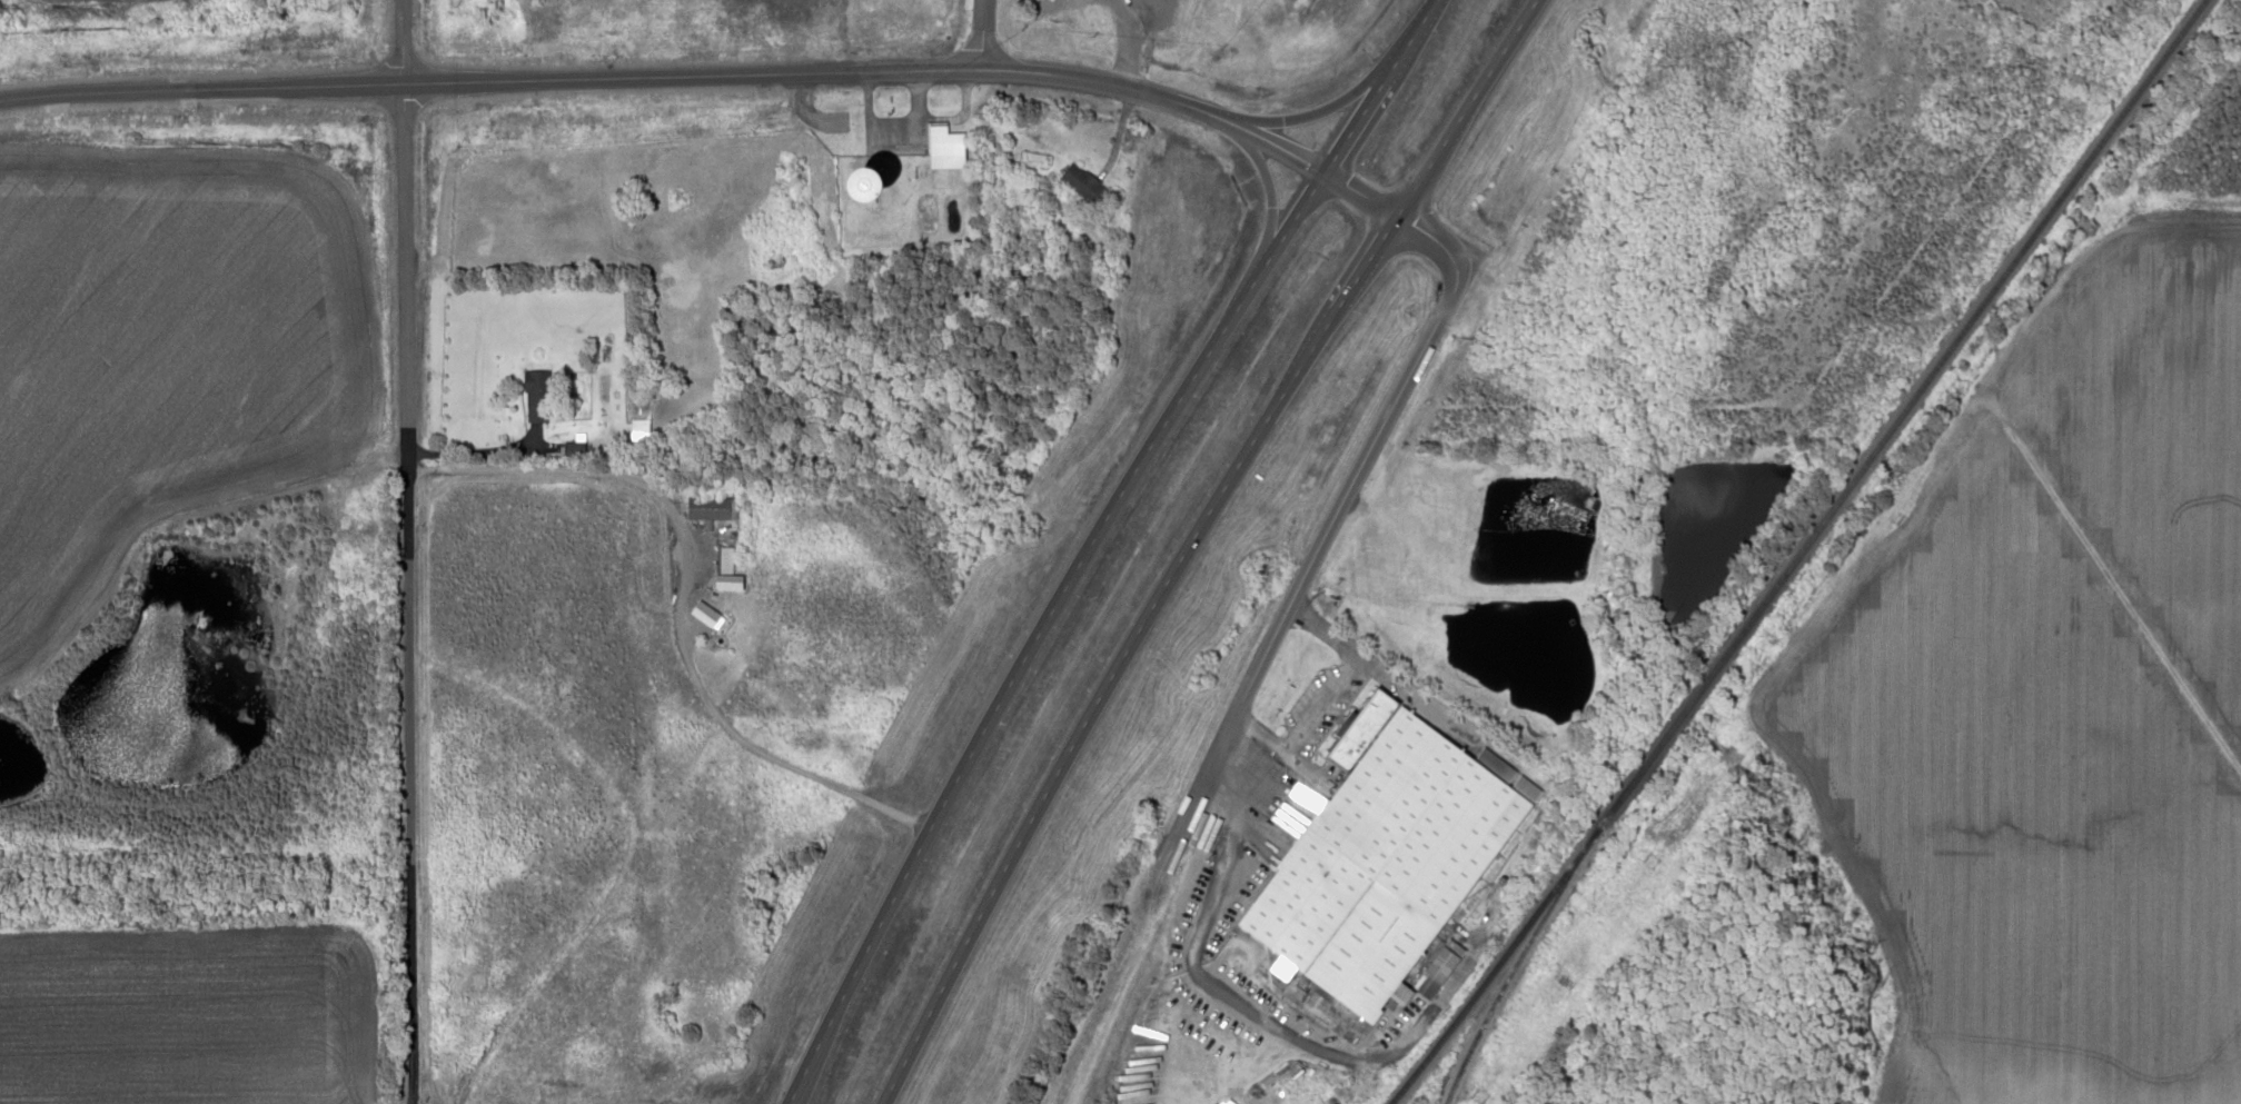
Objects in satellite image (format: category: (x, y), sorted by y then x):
road: (979, 34)
road: (1407, 41)
road: (713, 73)
road: (1467, 107)
road: (1353, 127)
building: (945, 150)
building: (1083, 185)
building: (865, 186)
road: (1368, 261)
building: (536, 396)
building: (638, 430)
building: (706, 508)
road: (1331, 524)
road: (405, 551)
railway: (1801, 553)
building: (723, 560)
road: (677, 597)
building: (698, 610)
road: (1040, 629)
road: (1100, 700)
building: (1386, 859)
railway: (1514, 963)

